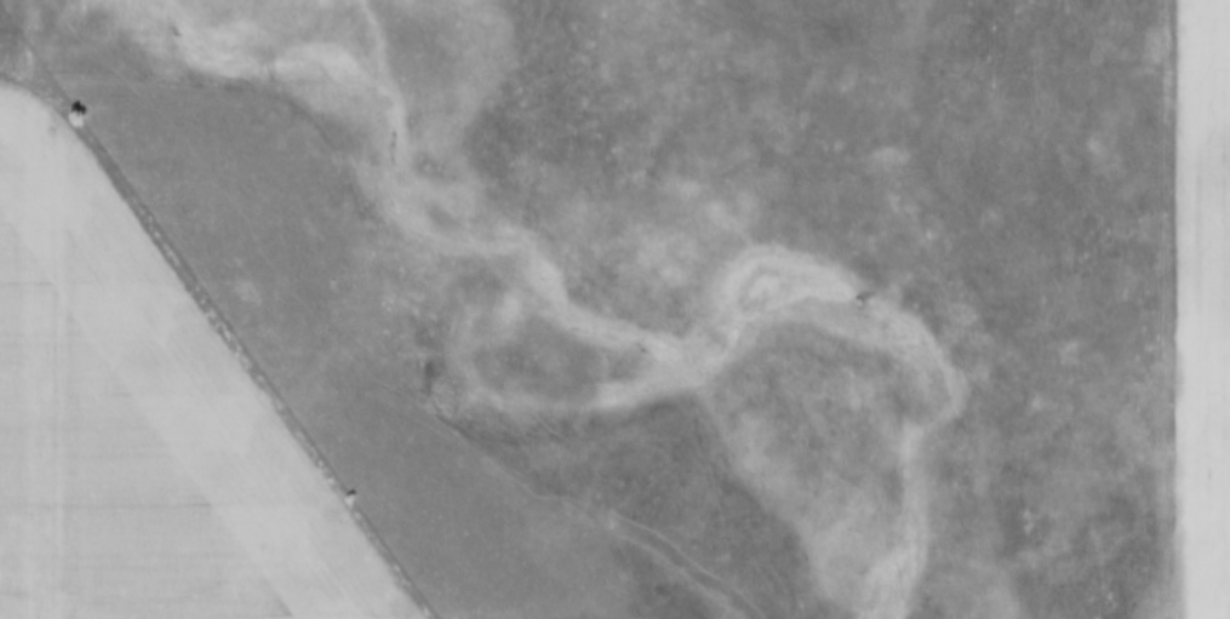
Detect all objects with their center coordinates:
road: (1174, 309)

